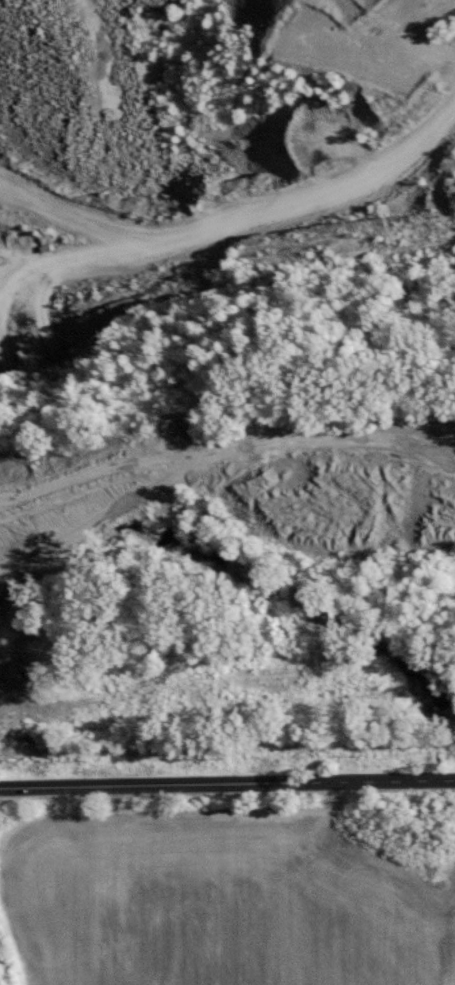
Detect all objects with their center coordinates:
road: (452, 111)
road: (239, 213)
road: (87, 256)
quarry: (227, 392)
road: (229, 453)
road: (104, 525)
road: (227, 783)

